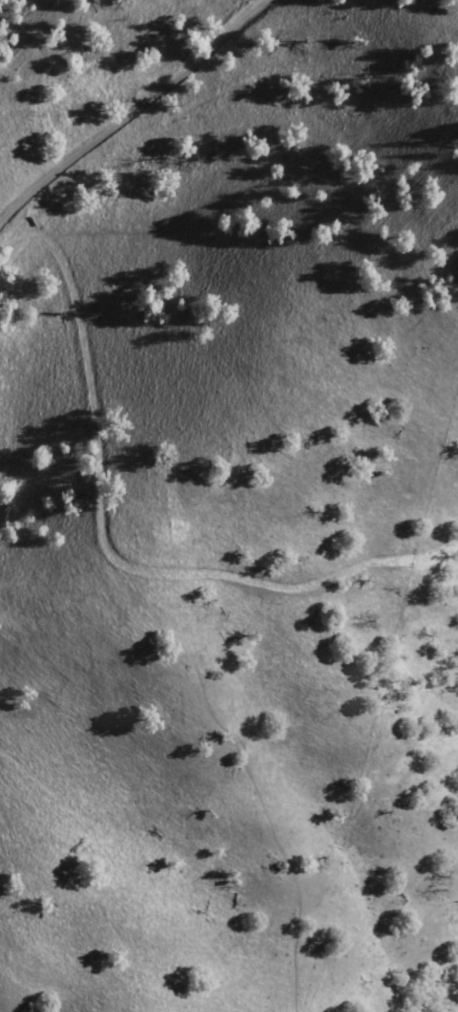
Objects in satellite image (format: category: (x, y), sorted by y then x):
road: (137, 114)

